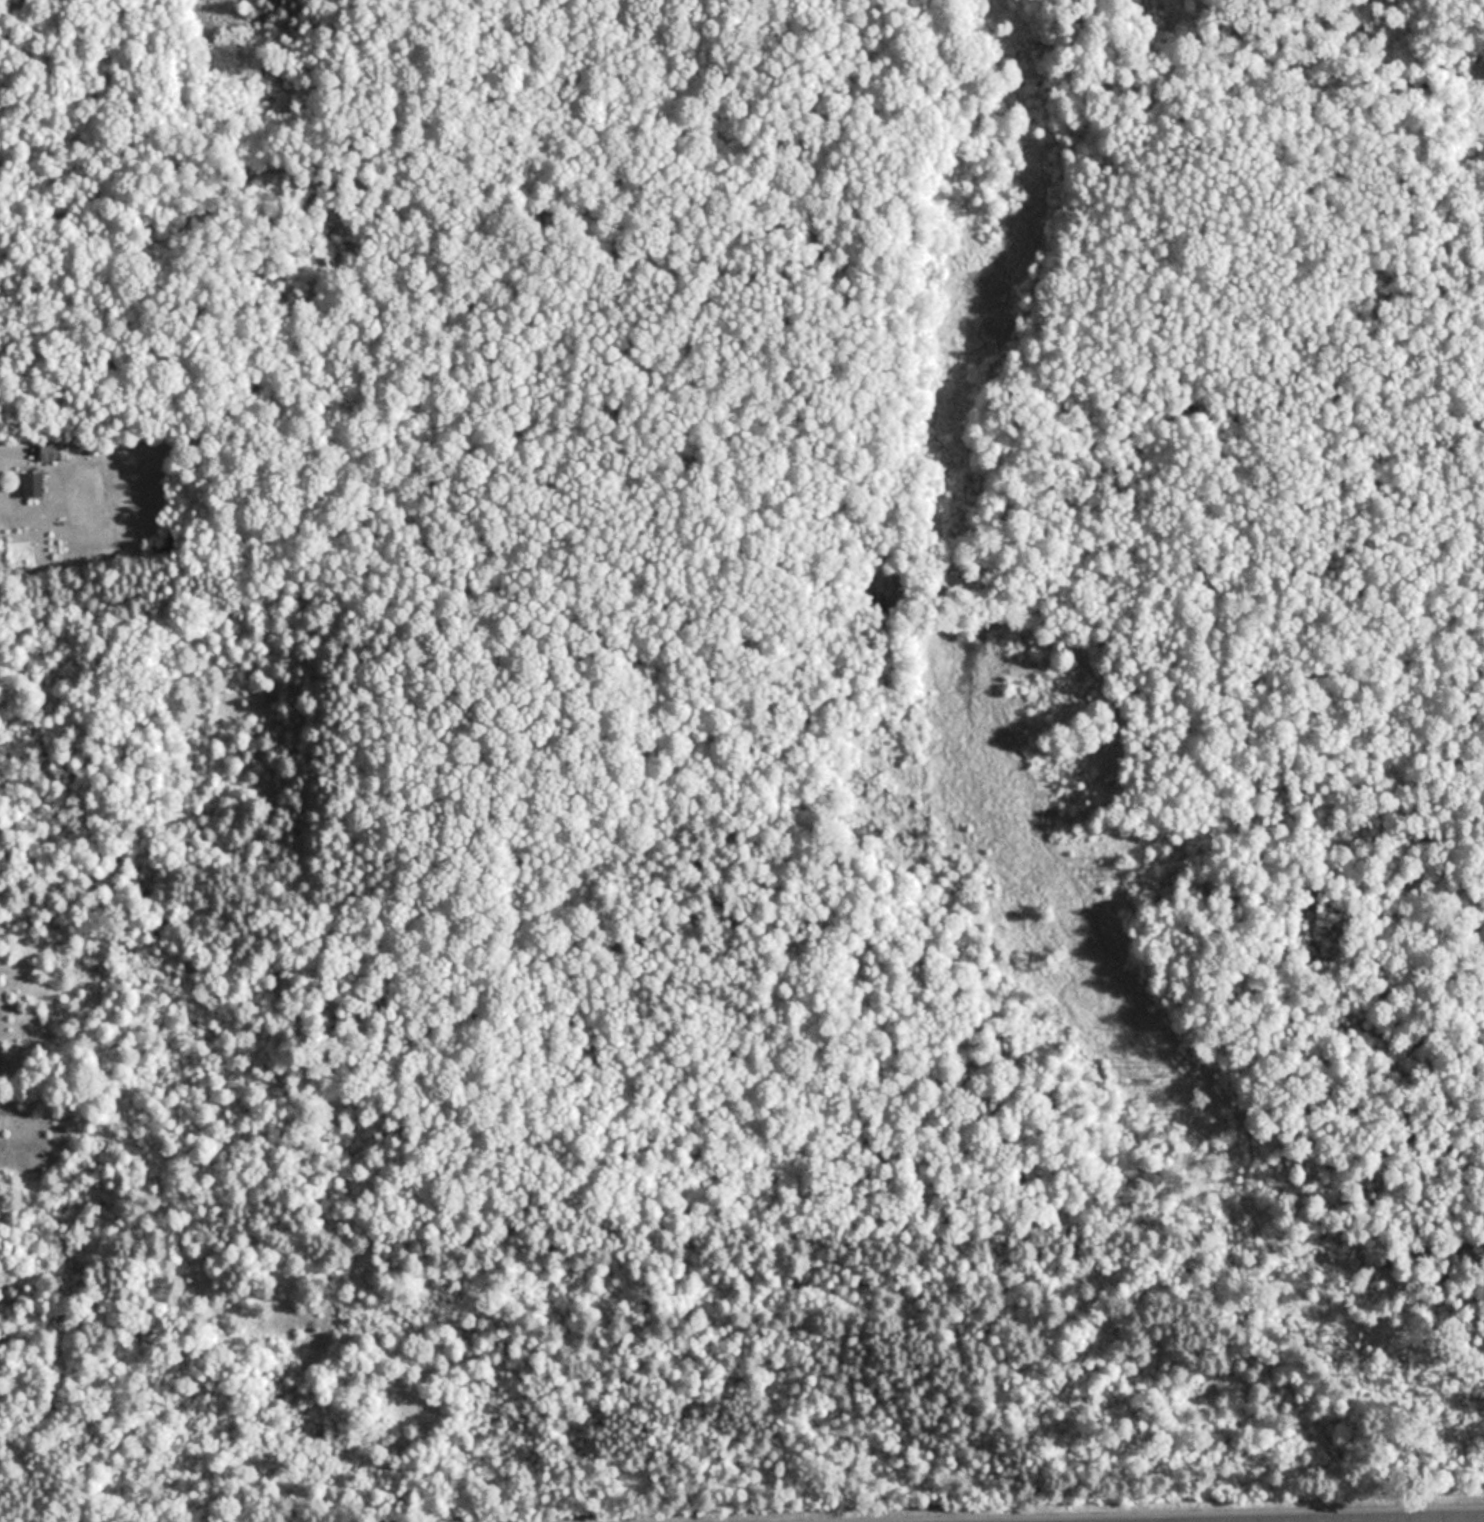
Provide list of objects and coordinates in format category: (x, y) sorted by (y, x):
building: (55, 451)
building: (35, 485)
park: (783, 788)

